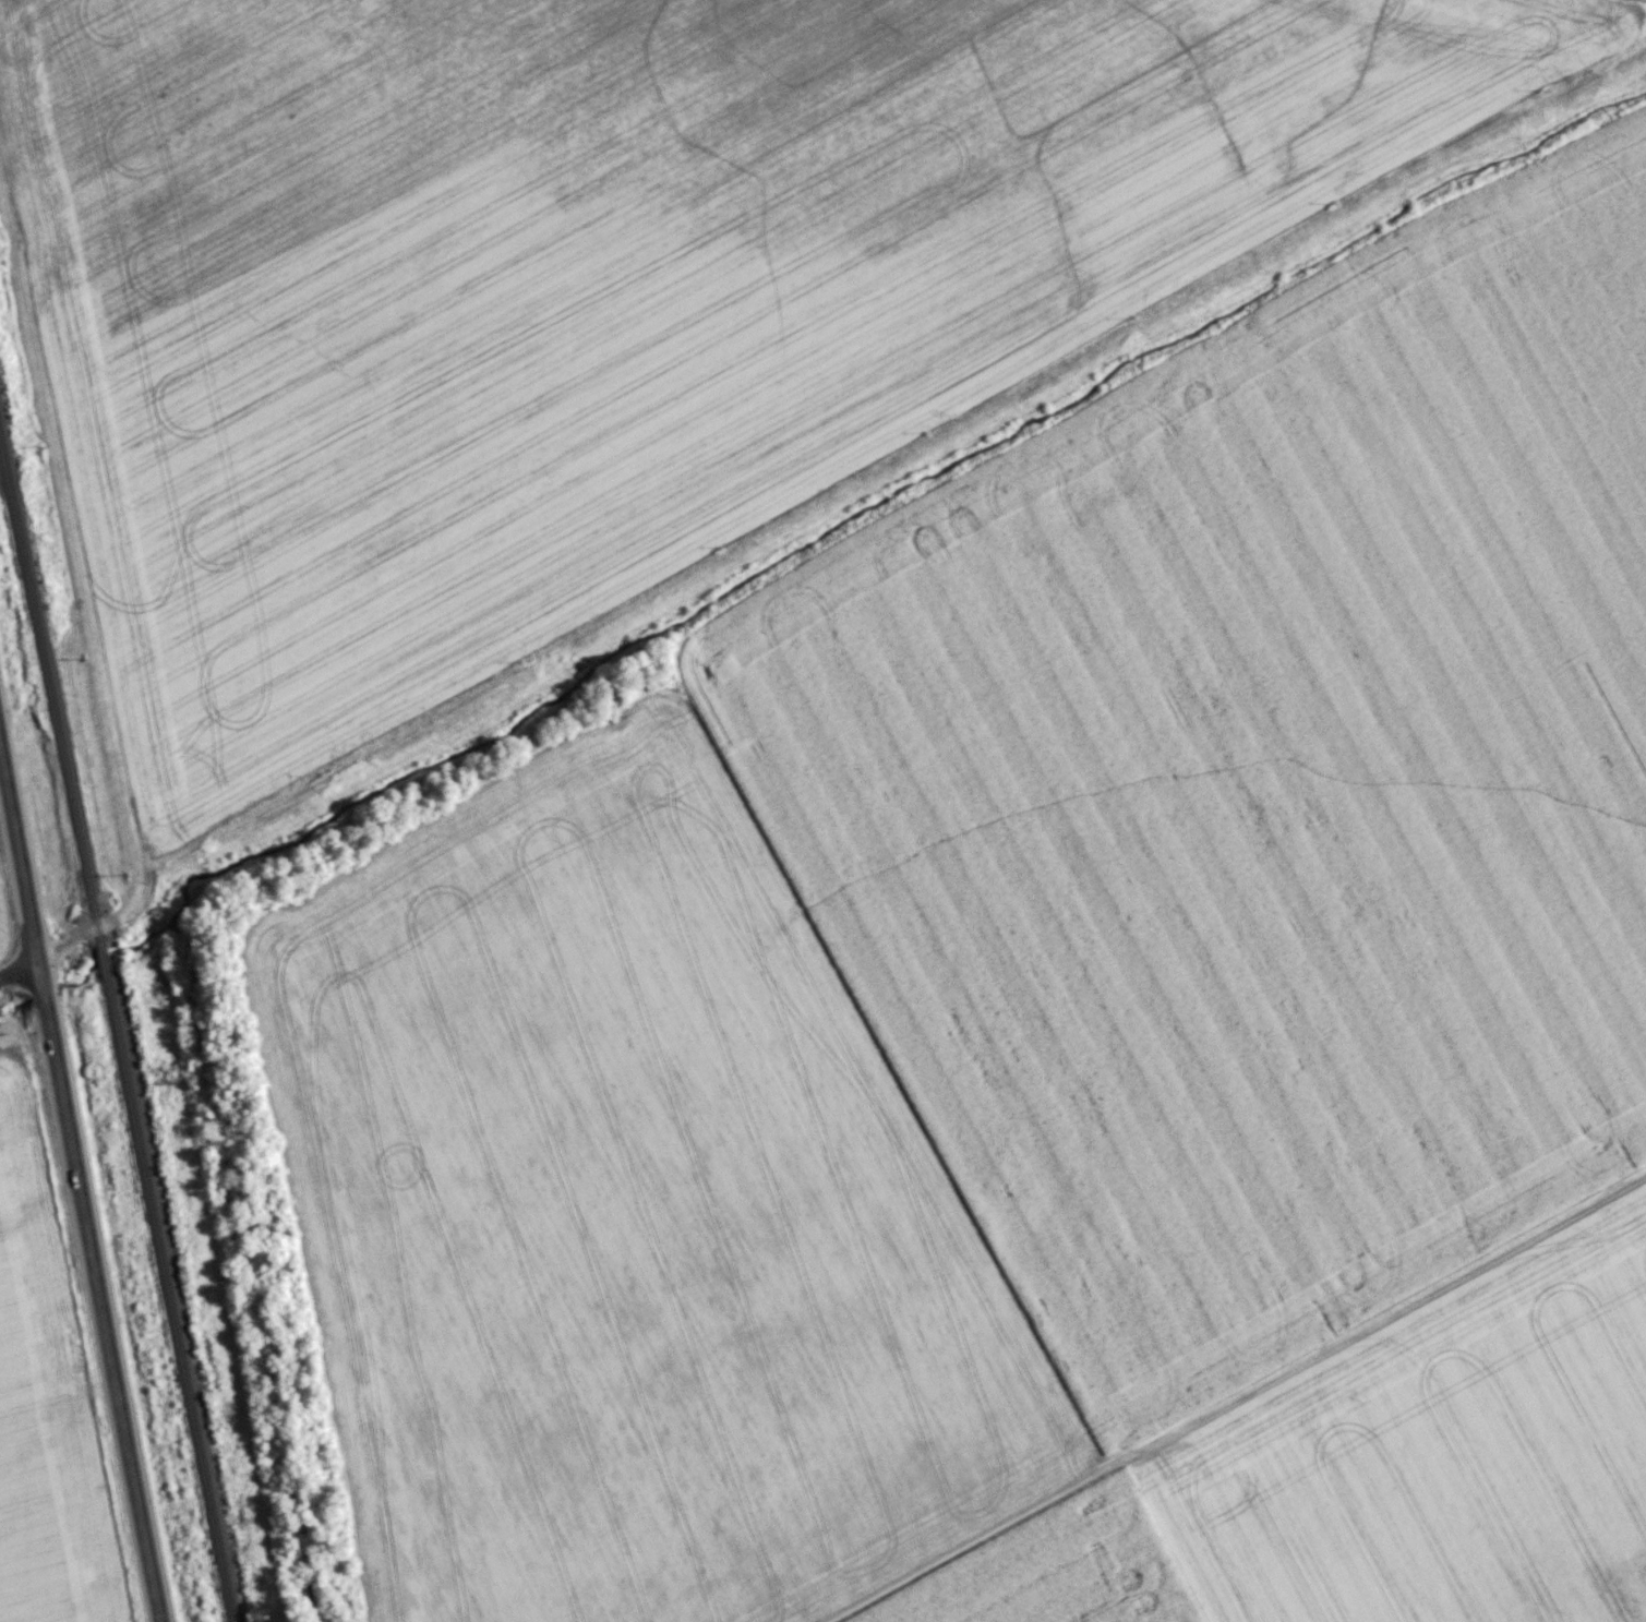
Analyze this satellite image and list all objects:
road: (17, 970)
railway: (117, 1030)
road: (77, 1193)

